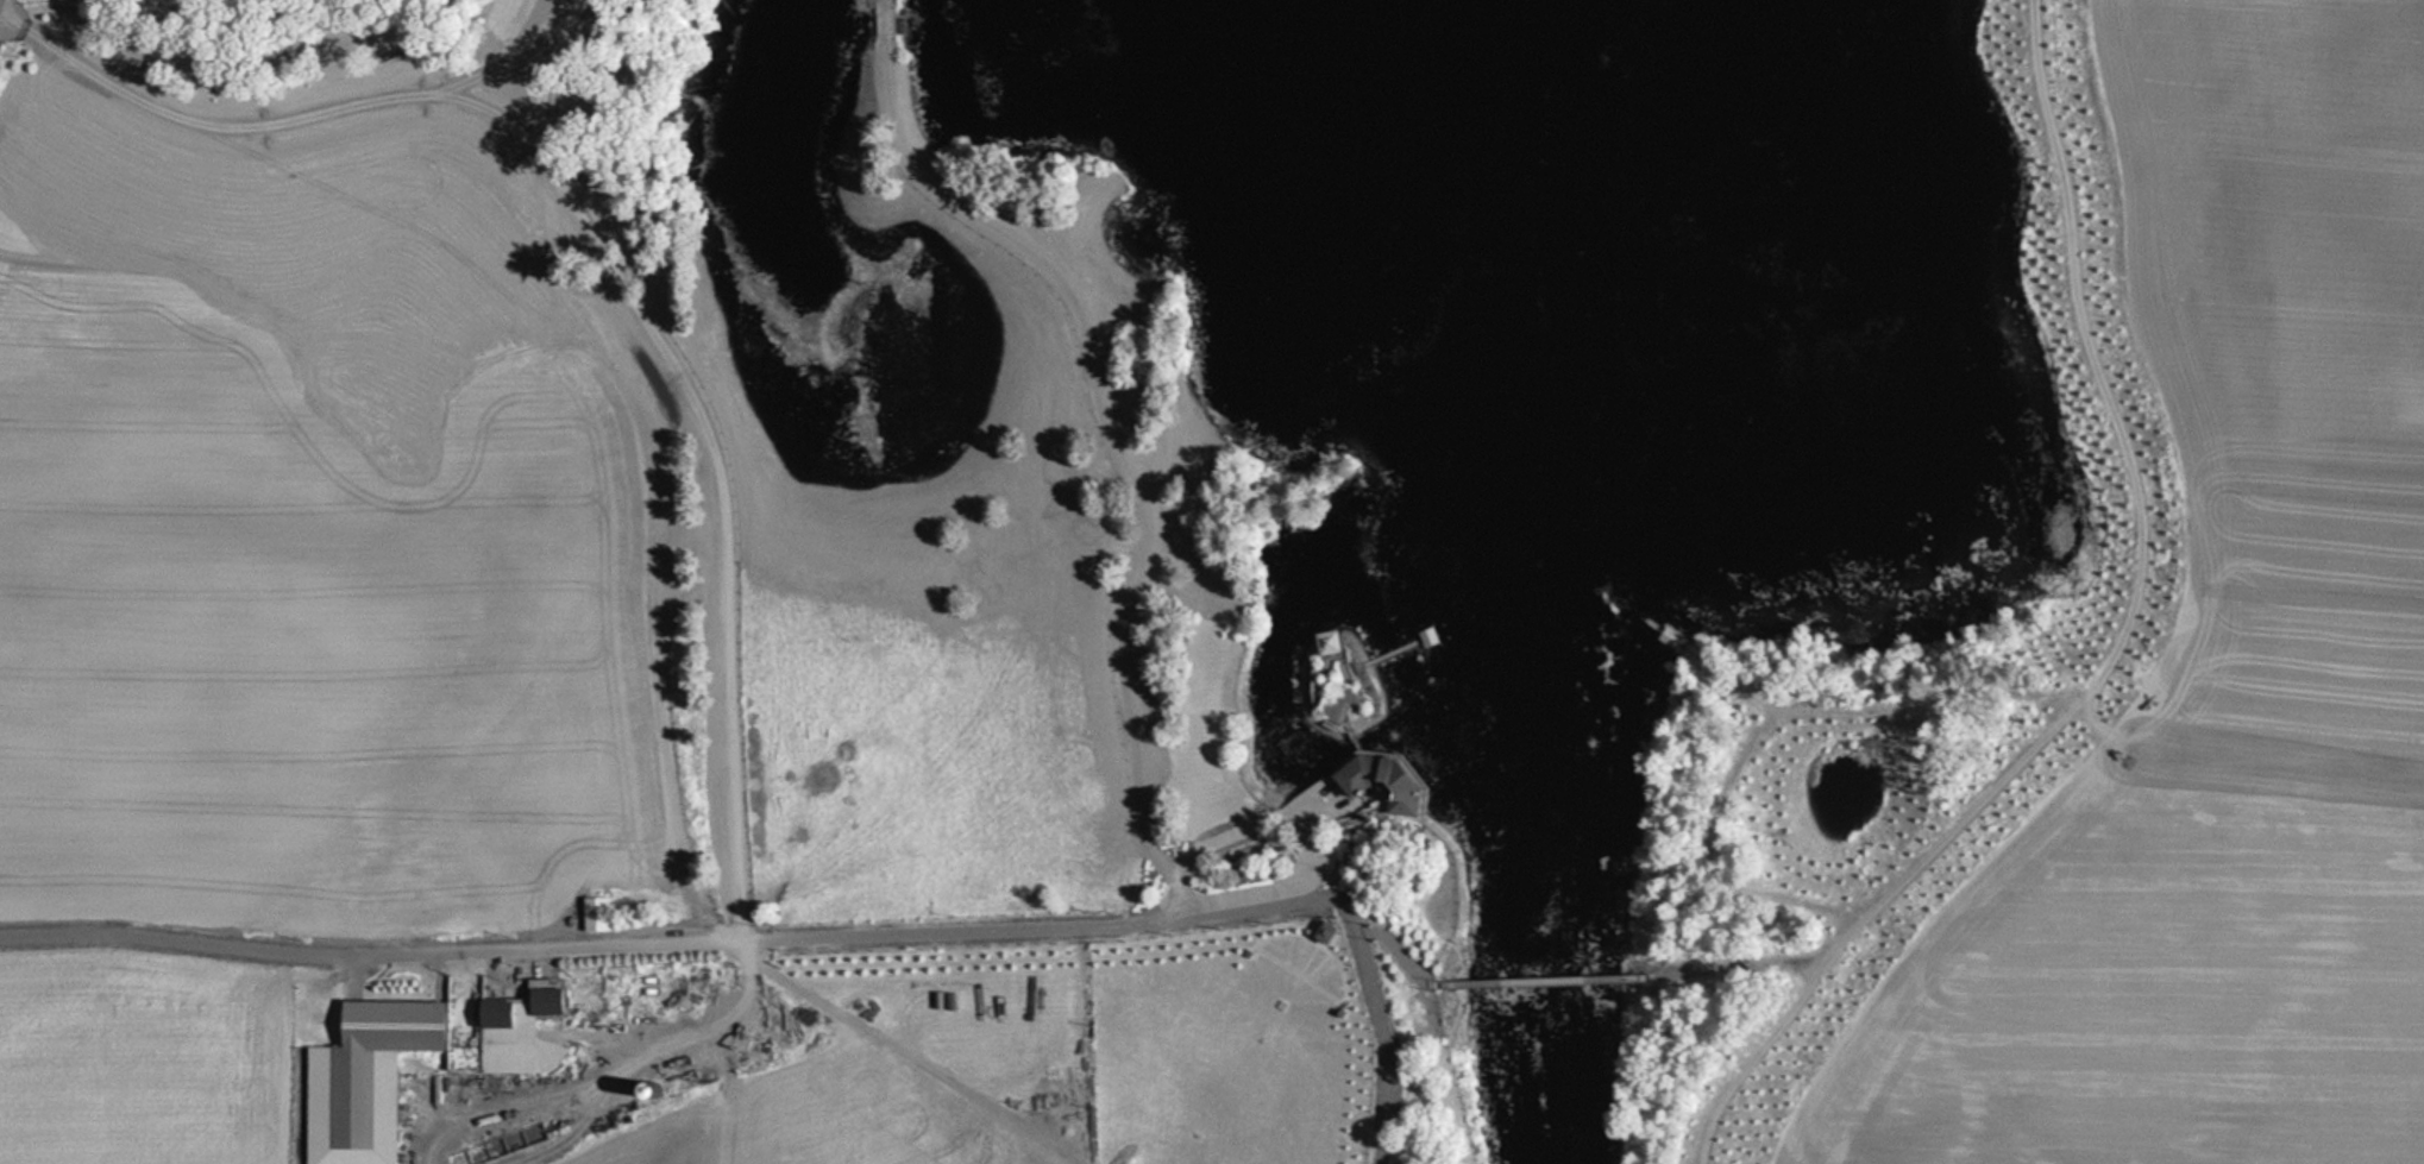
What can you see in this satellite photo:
building: (168, 180)
building: (1318, 641)
building: (591, 913)
building: (488, 1012)
building: (359, 1078)

